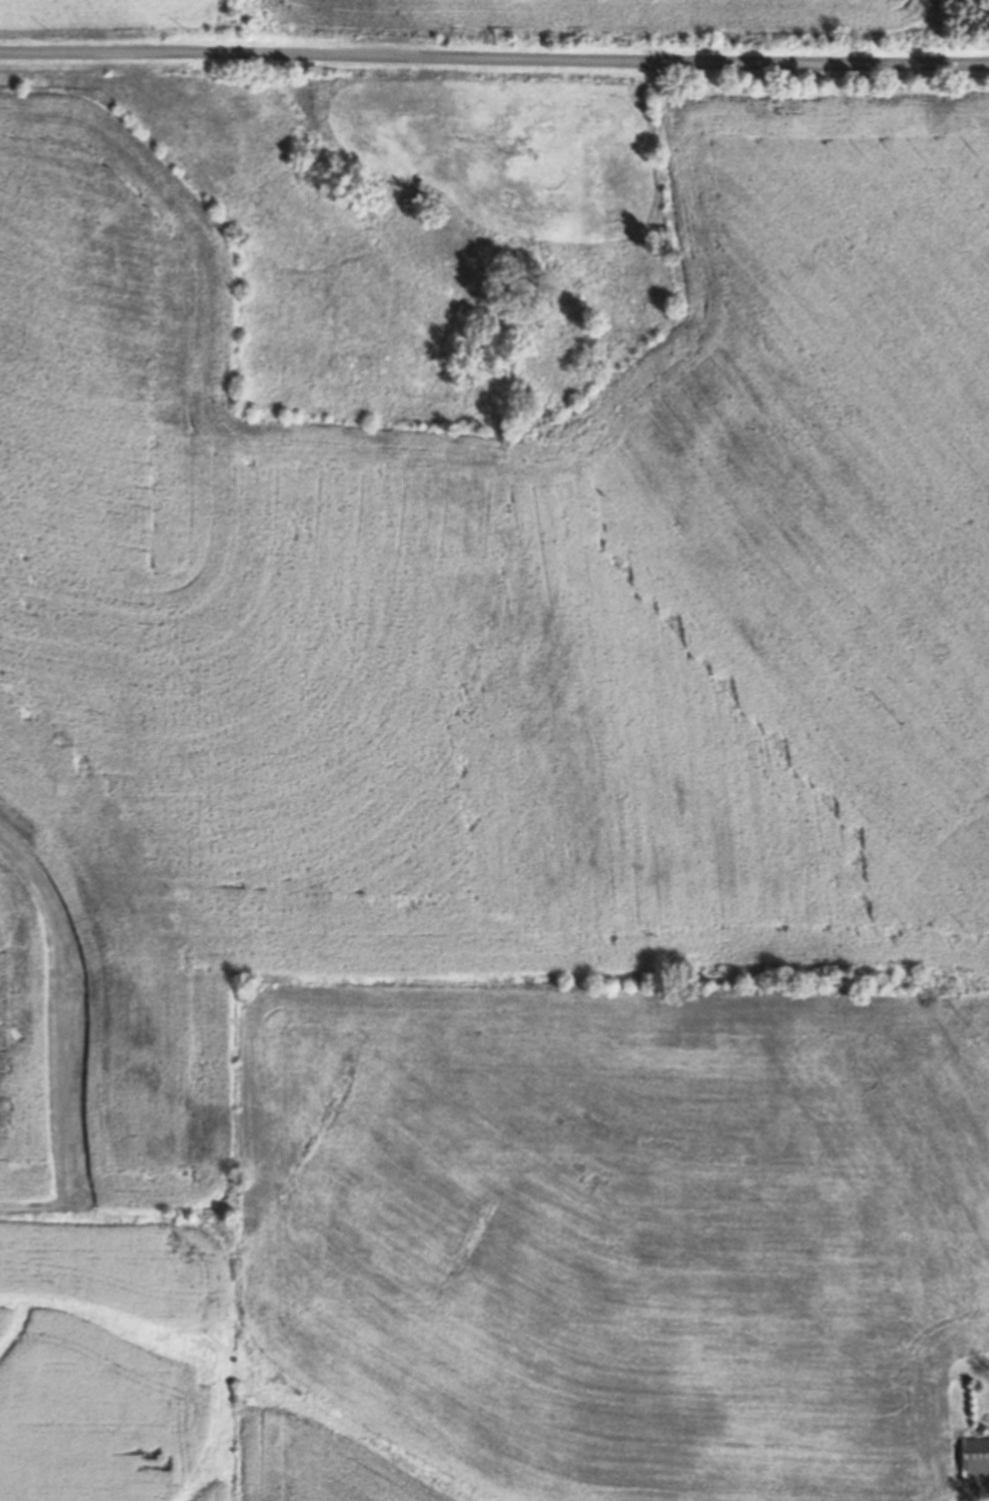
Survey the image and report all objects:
road: (494, 55)
building: (975, 1456)

